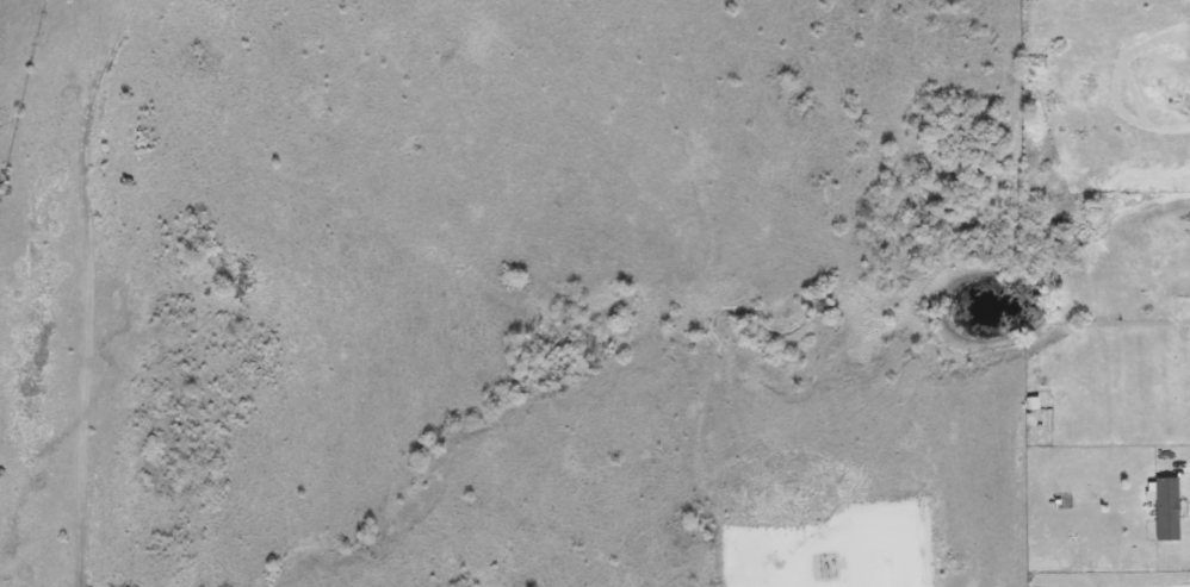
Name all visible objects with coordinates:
building: (1183, 61)
building: (1164, 508)

